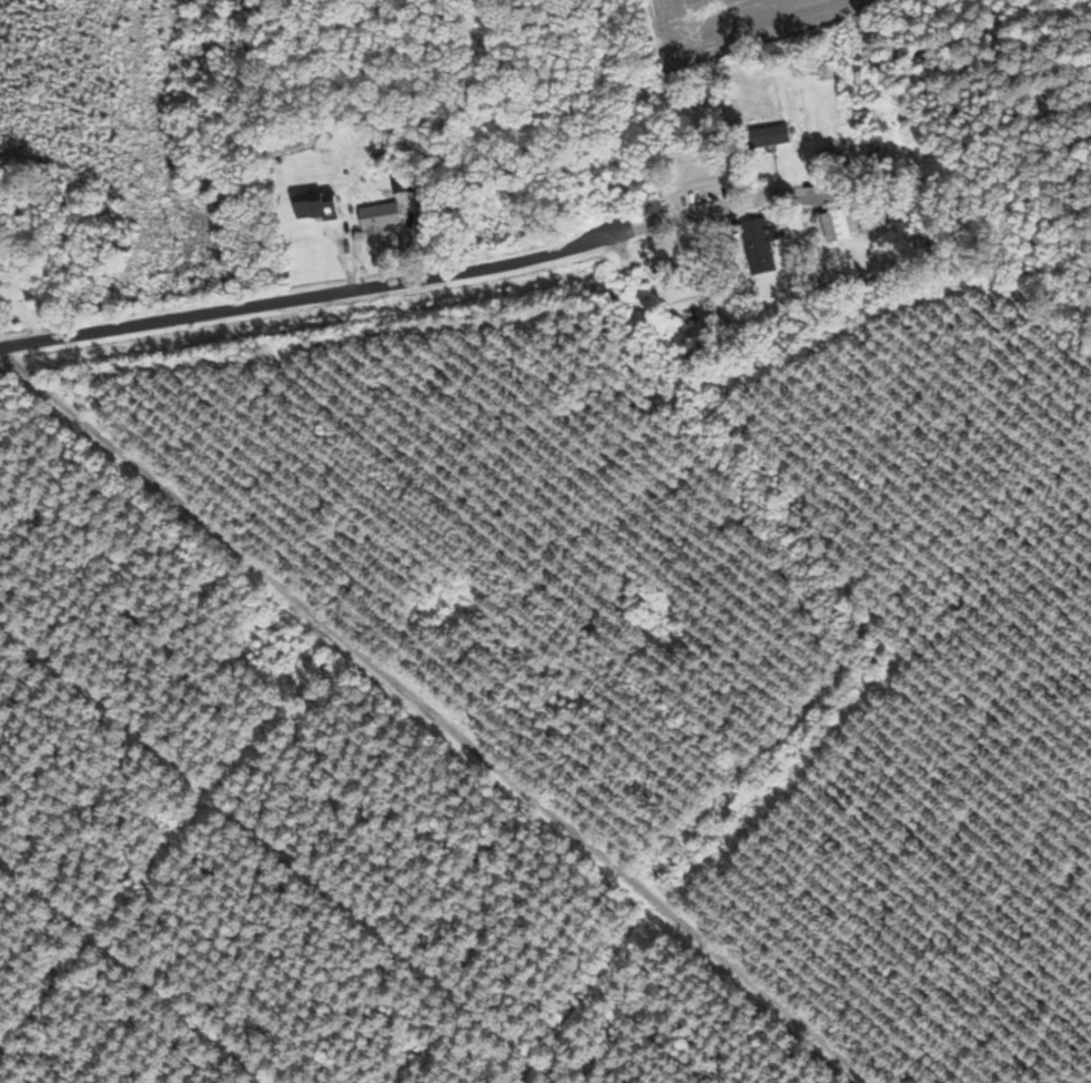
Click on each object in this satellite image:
road: (928, 100)
building: (776, 135)
building: (406, 181)
building: (323, 209)
building: (386, 216)
building: (842, 227)
building: (764, 247)
road: (385, 286)
road: (471, 713)

